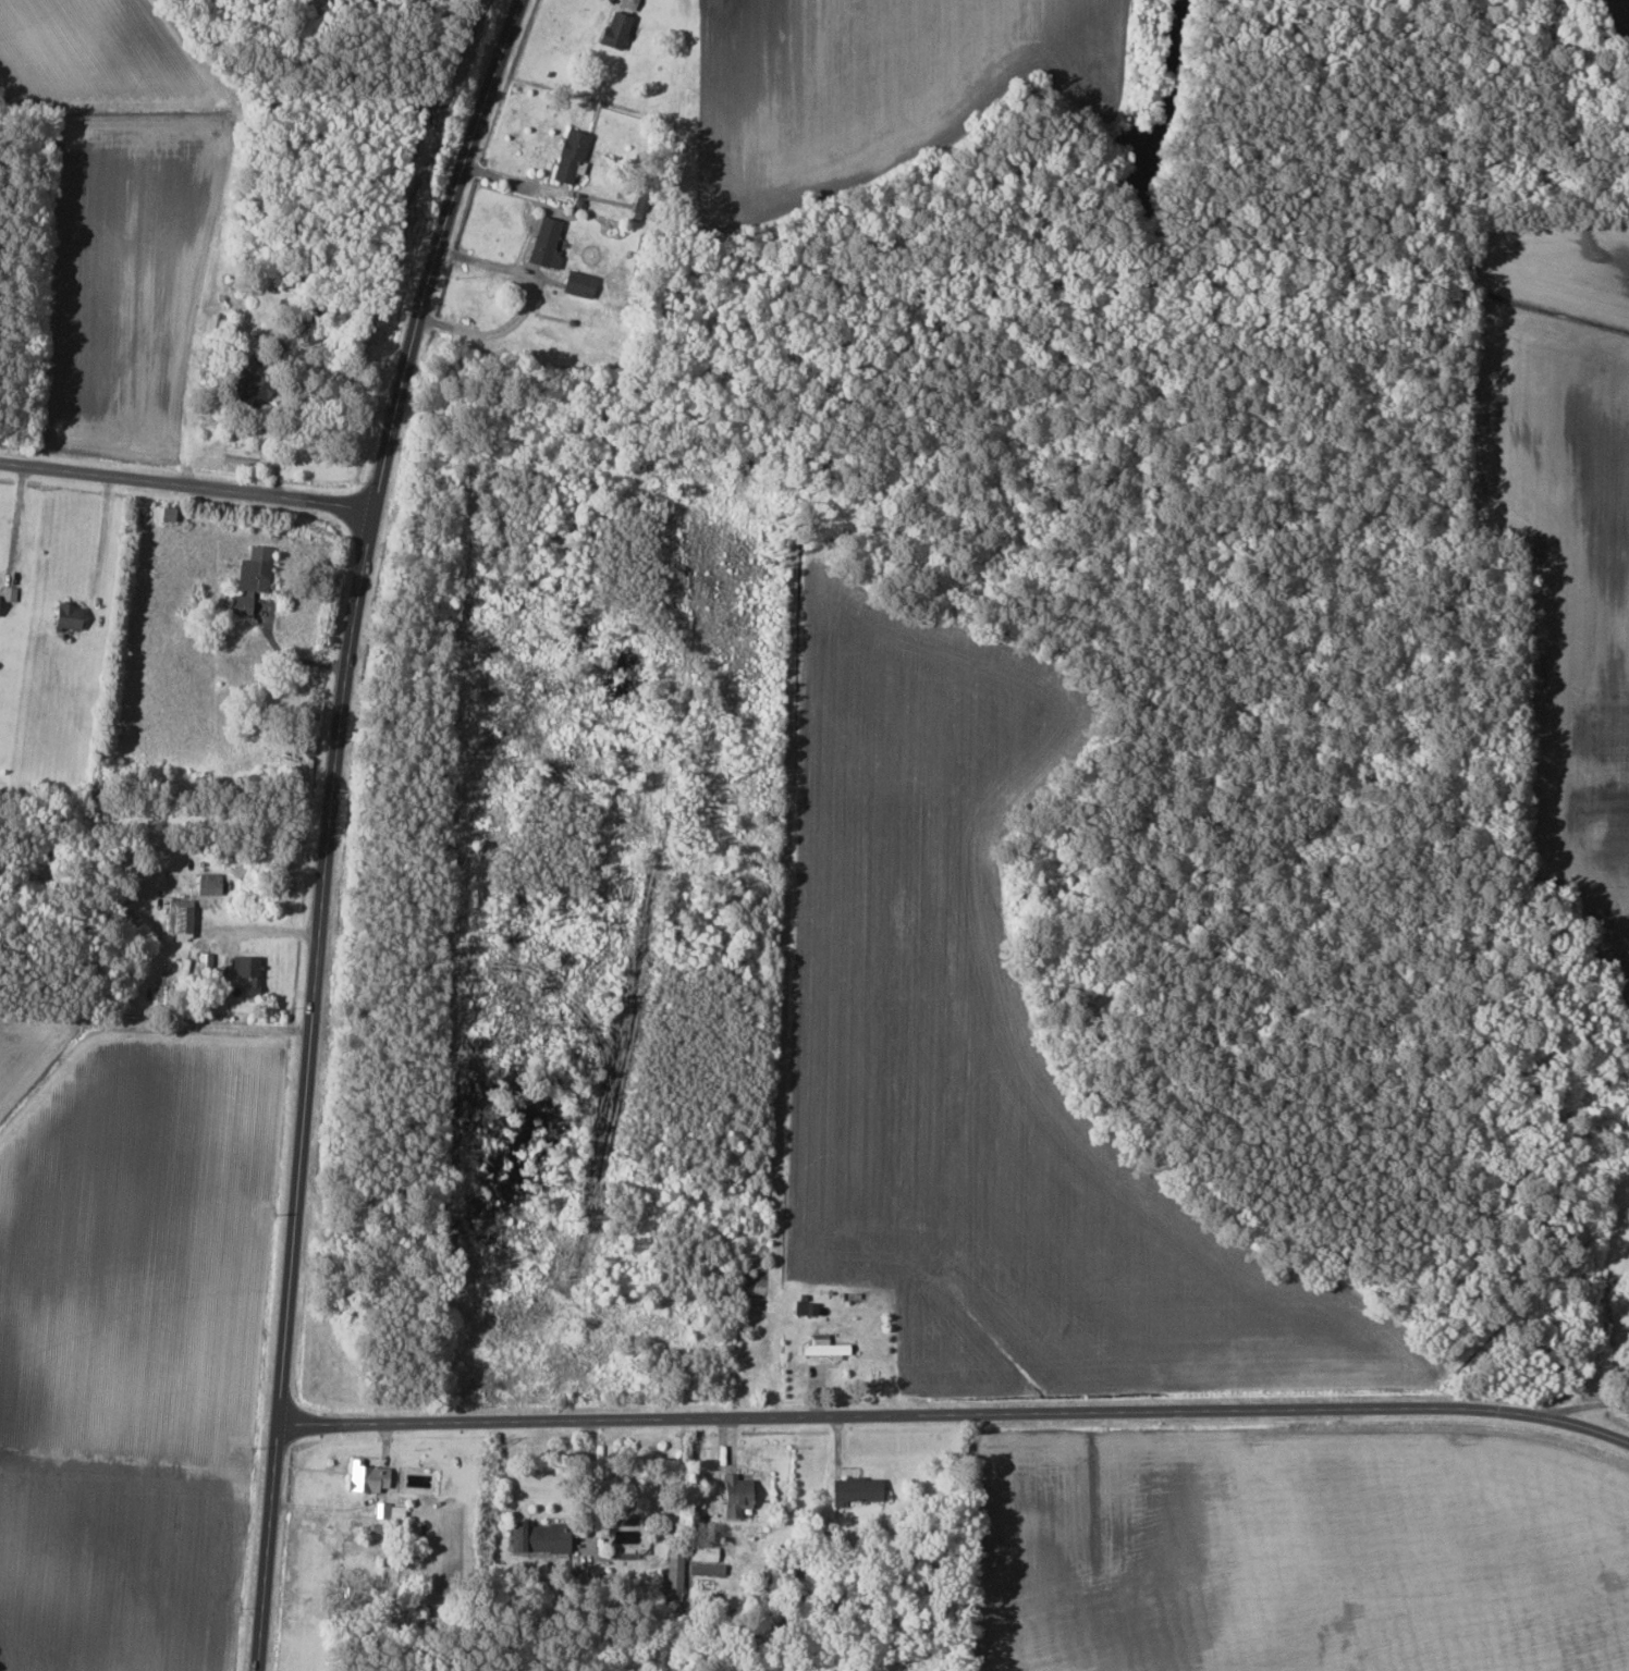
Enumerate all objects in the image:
building: (612, 29)
building: (568, 156)
building: (542, 243)
building: (577, 282)
road: (523, 303)
road: (187, 489)
building: (157, 512)
road: (12, 519)
building: (248, 579)
building: (65, 615)
road: (336, 824)
building: (207, 883)
building: (179, 914)
building: (204, 963)
building: (228, 966)
building: (804, 1308)
building: (822, 1347)
road: (1592, 1410)
road: (958, 1413)
building: (363, 1477)
road: (592, 1485)
building: (854, 1490)
building: (733, 1495)
building: (388, 1510)
building: (537, 1537)
building: (702, 1550)

